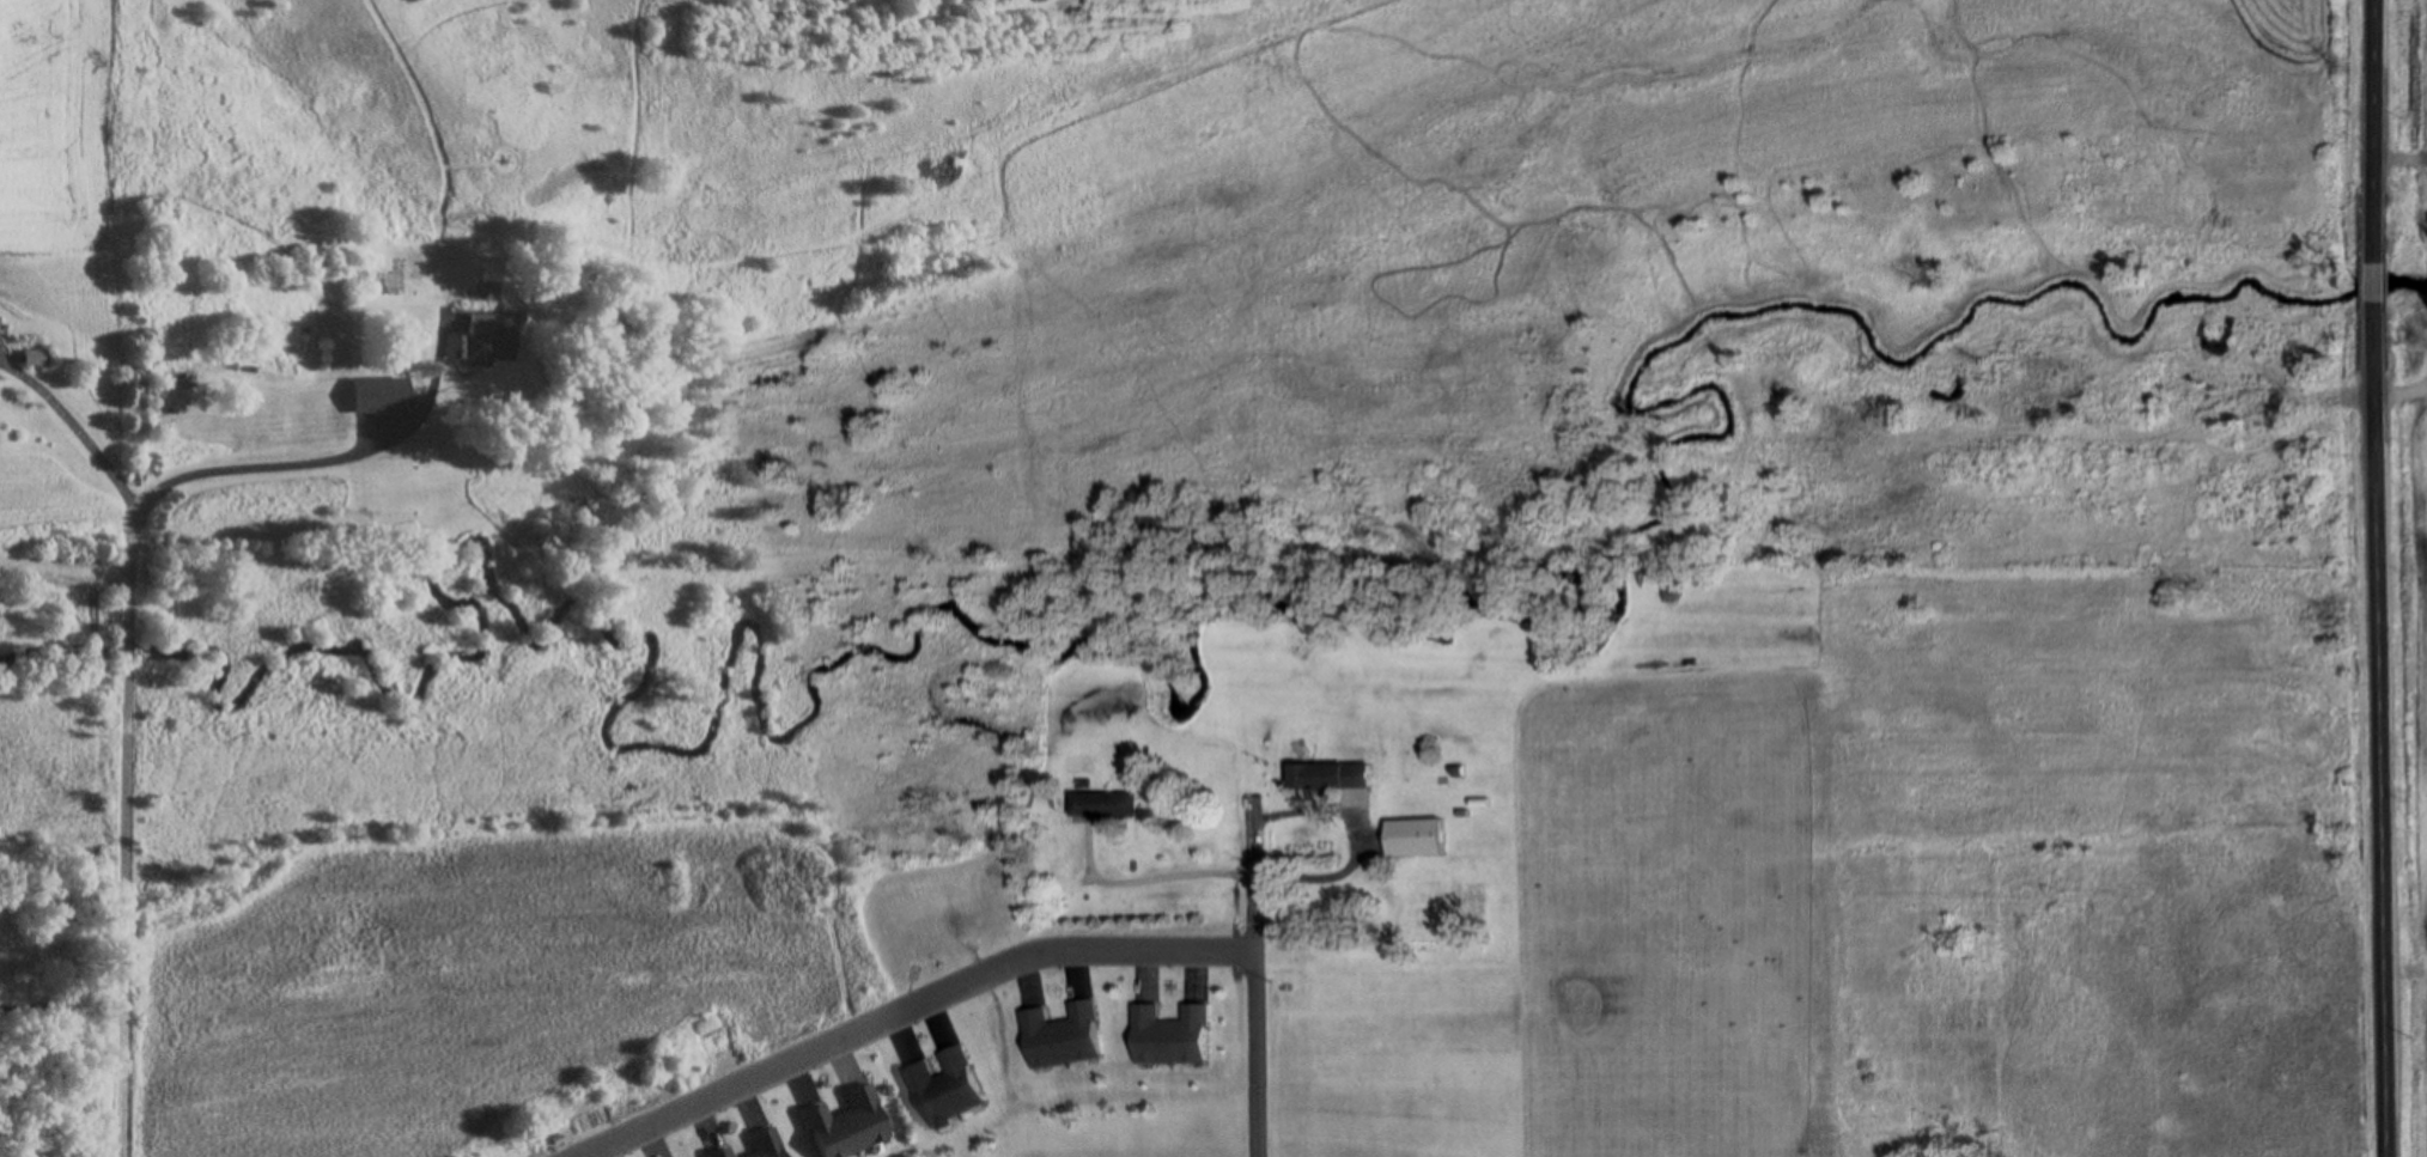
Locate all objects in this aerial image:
road: (2372, 130)
road: (2372, 282)
building: (493, 348)
building: (35, 359)
building: (384, 395)
road: (77, 428)
road: (361, 455)
road: (133, 554)
road: (2377, 730)
building: (1332, 774)
building: (1108, 805)
building: (1416, 838)
road: (126, 908)
road: (1255, 975)
road: (910, 1010)
building: (1066, 1037)
building: (1176, 1037)
building: (948, 1089)
building: (853, 1126)
building: (770, 1141)
building: (723, 1153)

